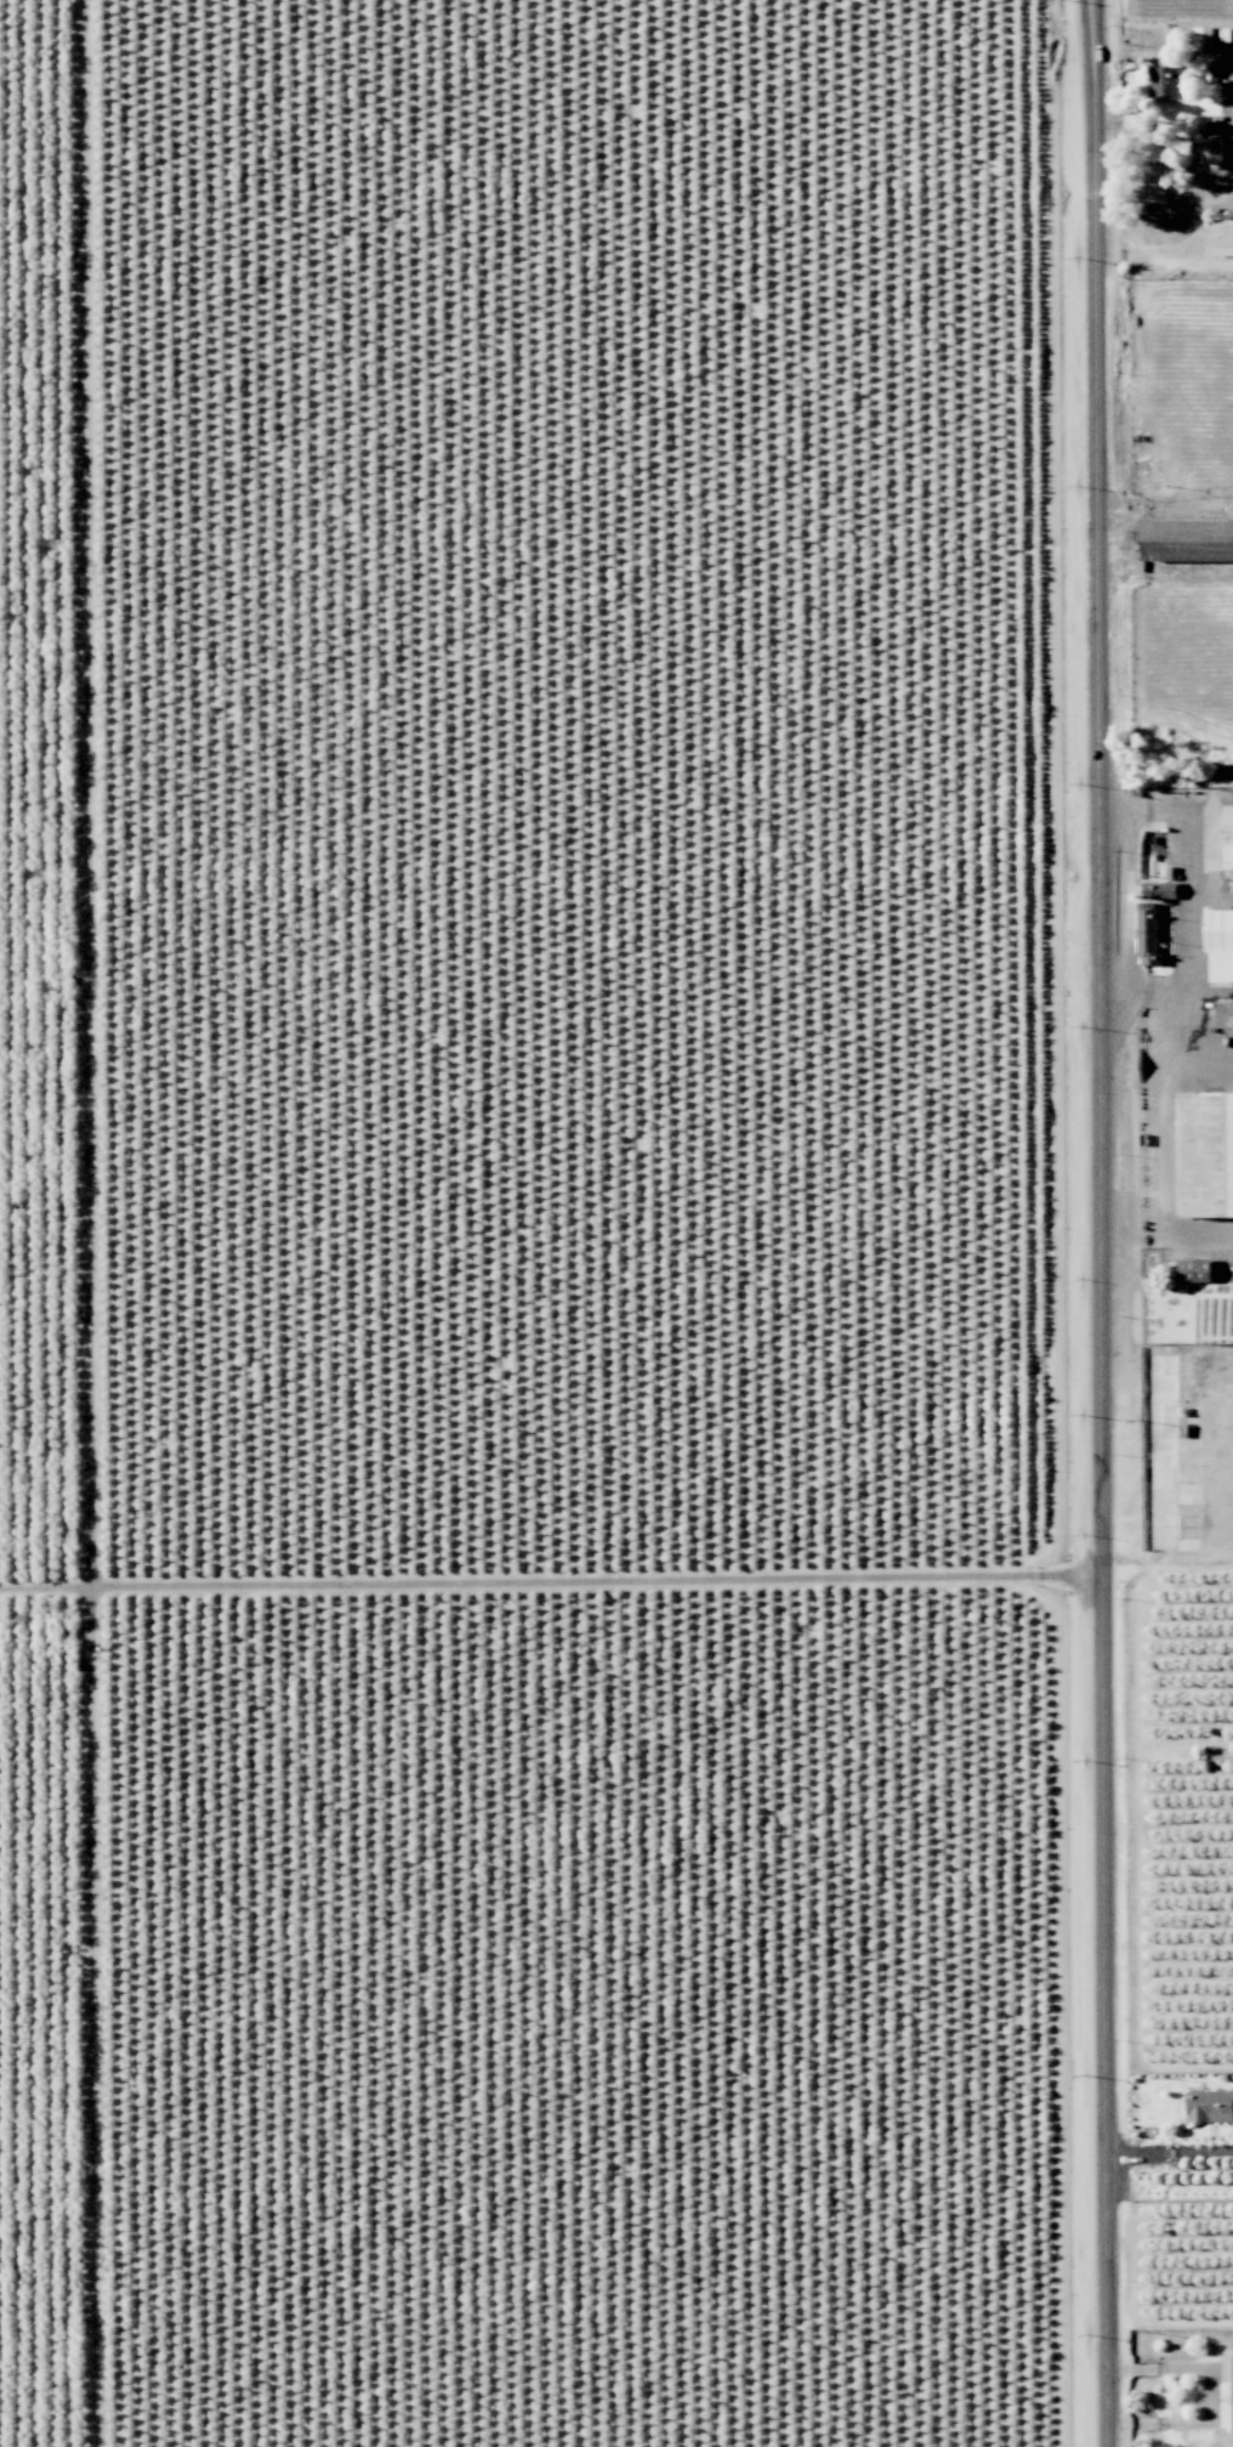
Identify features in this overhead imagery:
building: (1204, 39)
building: (1167, 80)
building: (1188, 540)
road: (1116, 809)
building: (1222, 913)
building: (1148, 933)
road: (1191, 938)
building: (1225, 1014)
building: (1208, 1154)
road: (1092, 1223)
building: (1195, 1270)
road: (547, 1582)
building: (1210, 2105)
road: (1166, 2152)
road: (1199, 2390)

